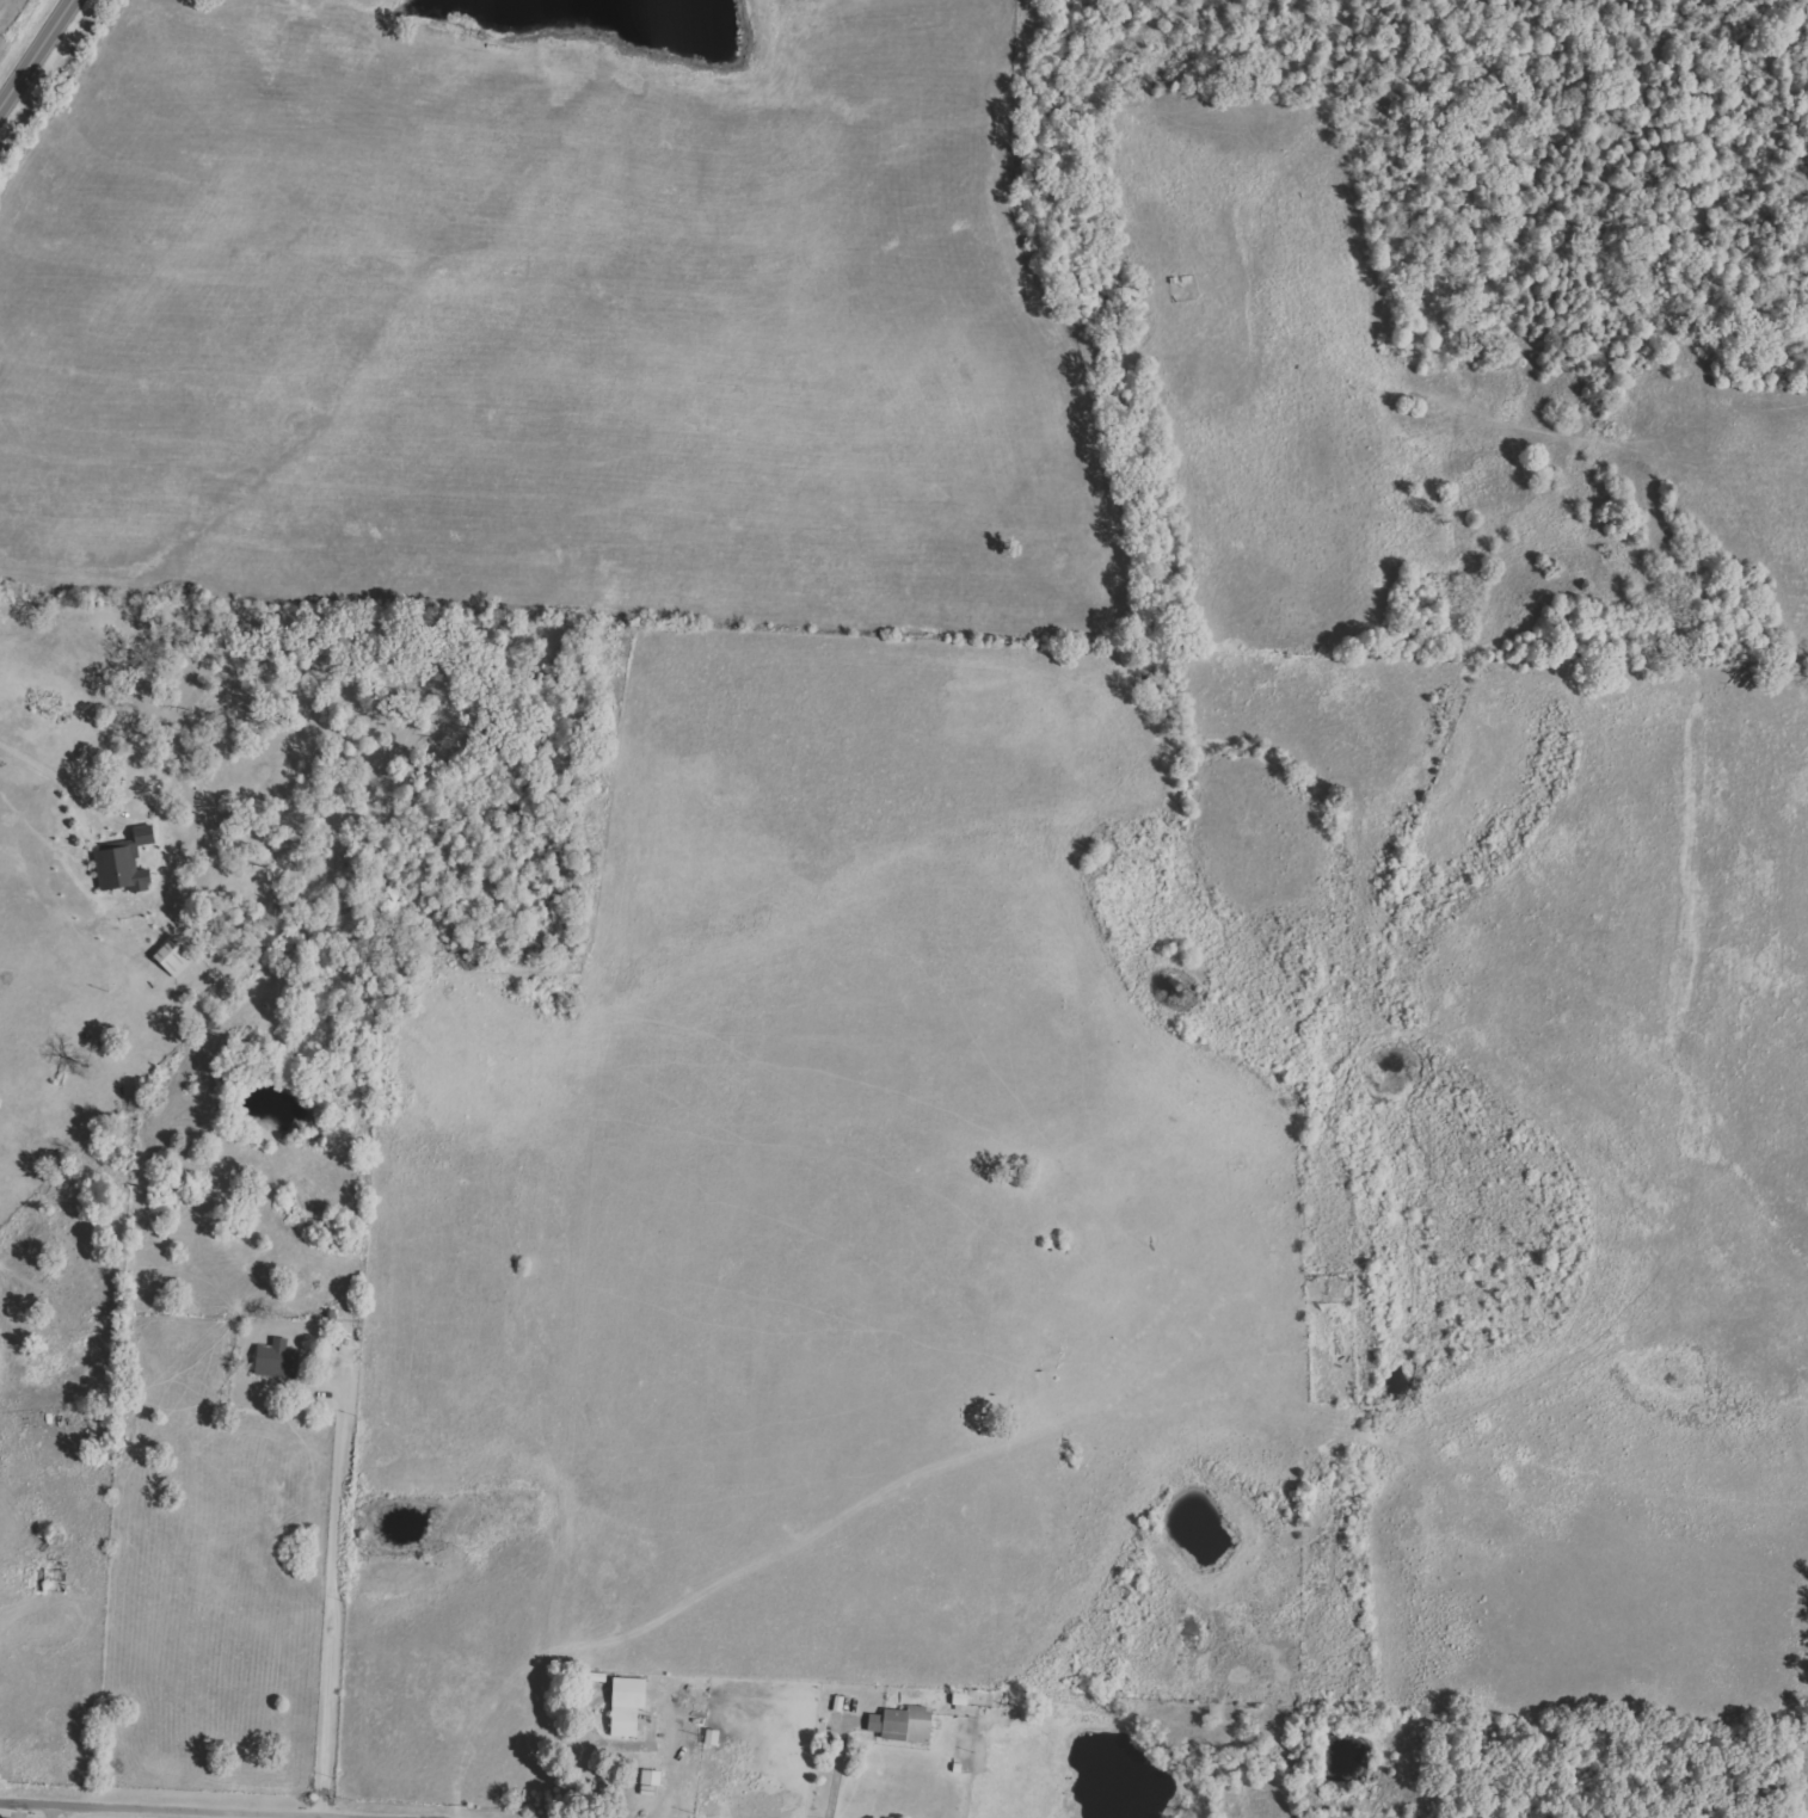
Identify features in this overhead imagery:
road: (36, 55)
road: (41, 769)
building: (123, 865)
building: (174, 955)
building: (276, 1360)
road: (331, 1597)
building: (627, 1705)
building: (903, 1724)
road: (842, 1770)
road: (173, 1811)
road: (50, 1812)

